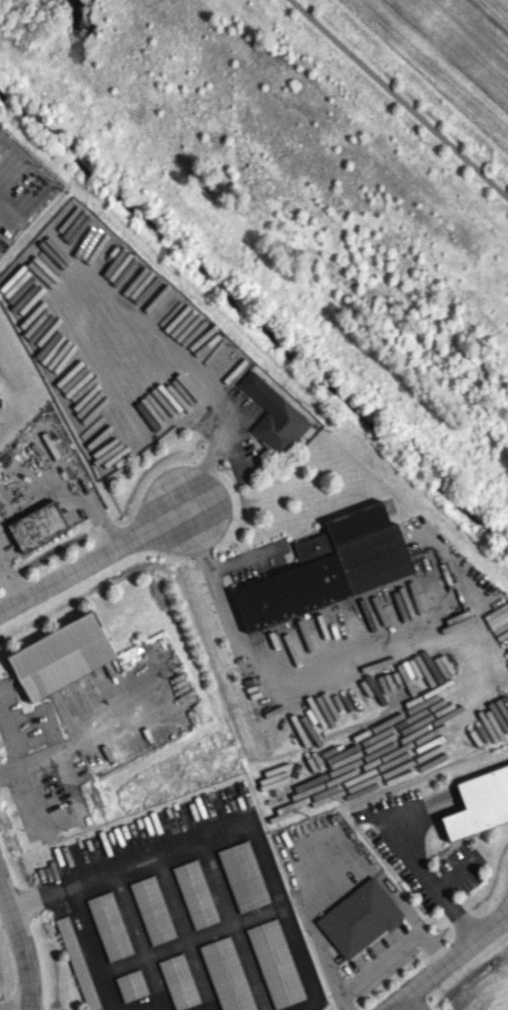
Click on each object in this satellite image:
road: (397, 100)
road: (5, 212)
building: (273, 414)
building: (36, 526)
road: (243, 555)
road: (91, 559)
building: (331, 567)
road: (217, 594)
road: (388, 627)
building: (60, 656)
power tower: (94, 799)
building: (479, 802)
road: (252, 828)
building: (243, 876)
road: (431, 882)
road: (37, 893)
building: (195, 894)
building: (152, 910)
building: (359, 917)
building: (109, 925)
road: (21, 948)
road: (92, 951)
road: (388, 956)
road: (448, 961)
building: (77, 963)
building: (275, 963)
building: (226, 975)
building: (178, 981)
building: (131, 985)
road: (412, 1002)

